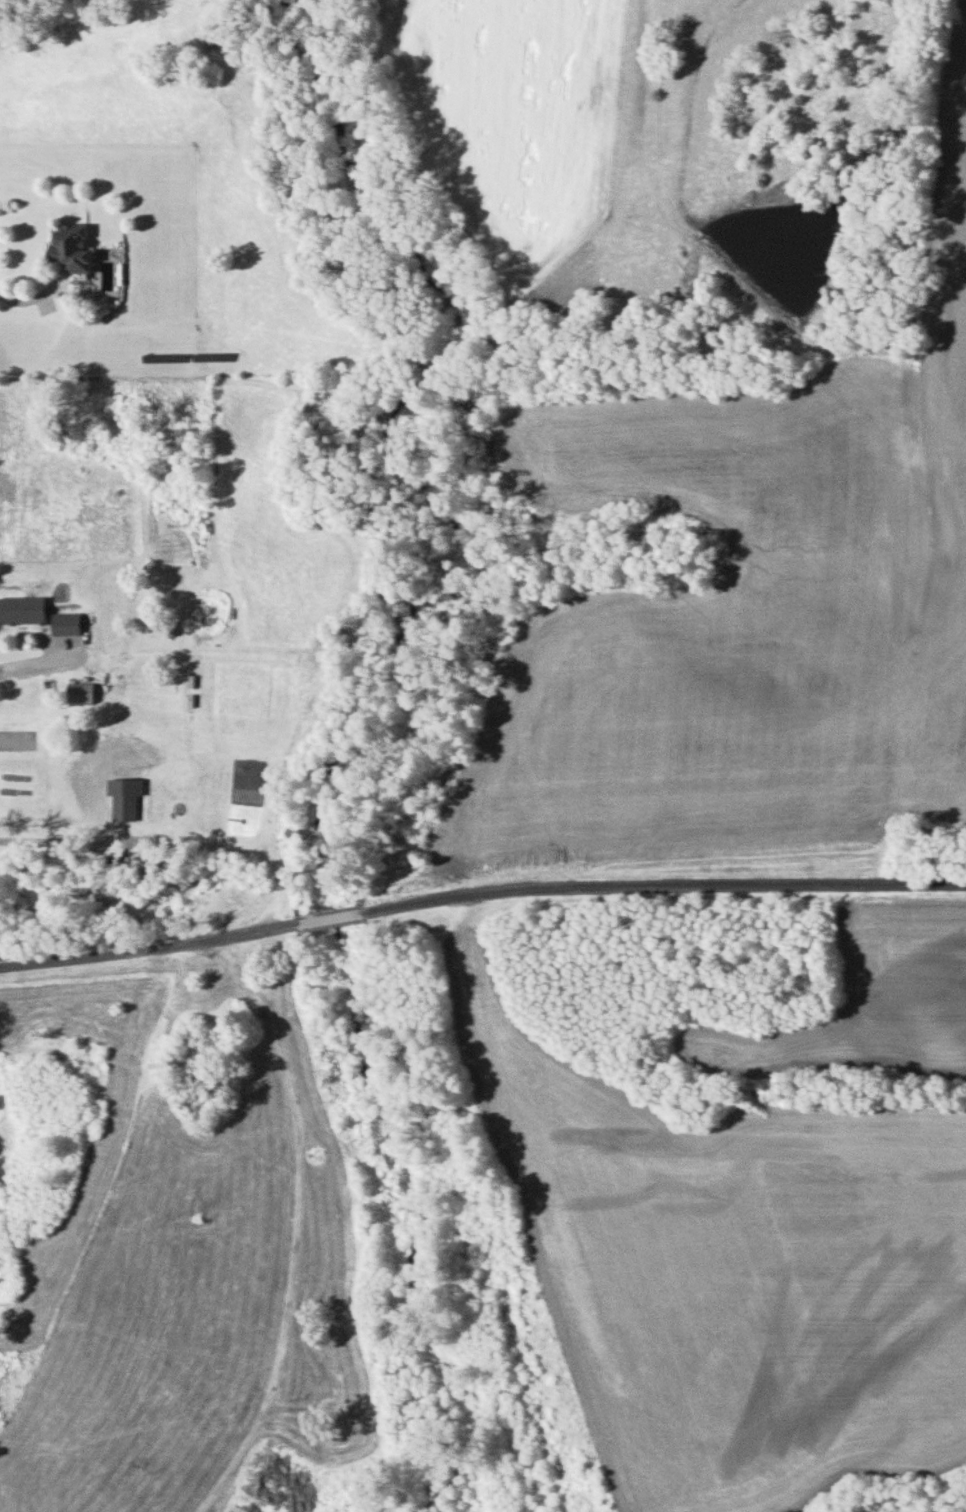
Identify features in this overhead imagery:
crop: (502, 112)
building: (69, 246)
crop: (946, 417)
building: (21, 609)
building: (64, 623)
crop: (688, 643)
road: (43, 663)
building: (78, 693)
road: (45, 835)
road: (480, 893)
crop: (855, 999)
road: (133, 1003)
building: (78, 1029)
road: (278, 1165)
road: (535, 1212)
crop: (707, 1274)

